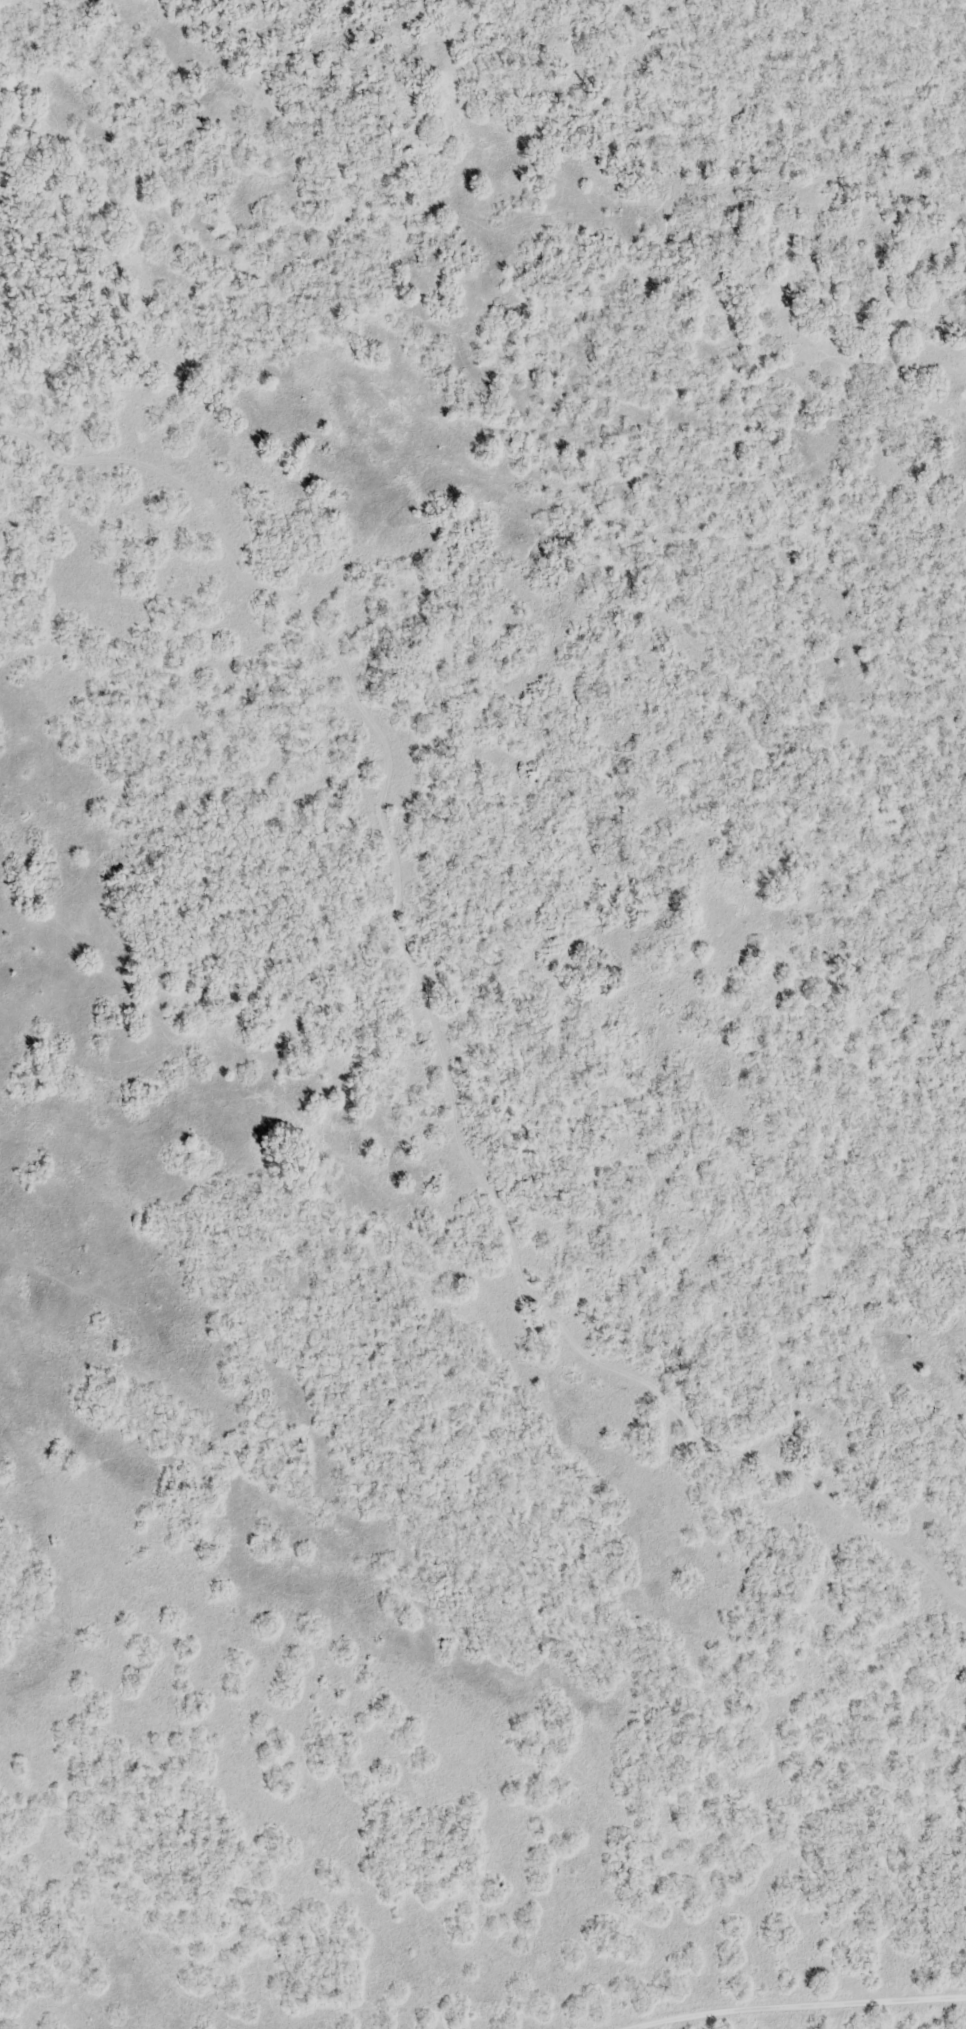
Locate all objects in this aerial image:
road: (798, 1996)

